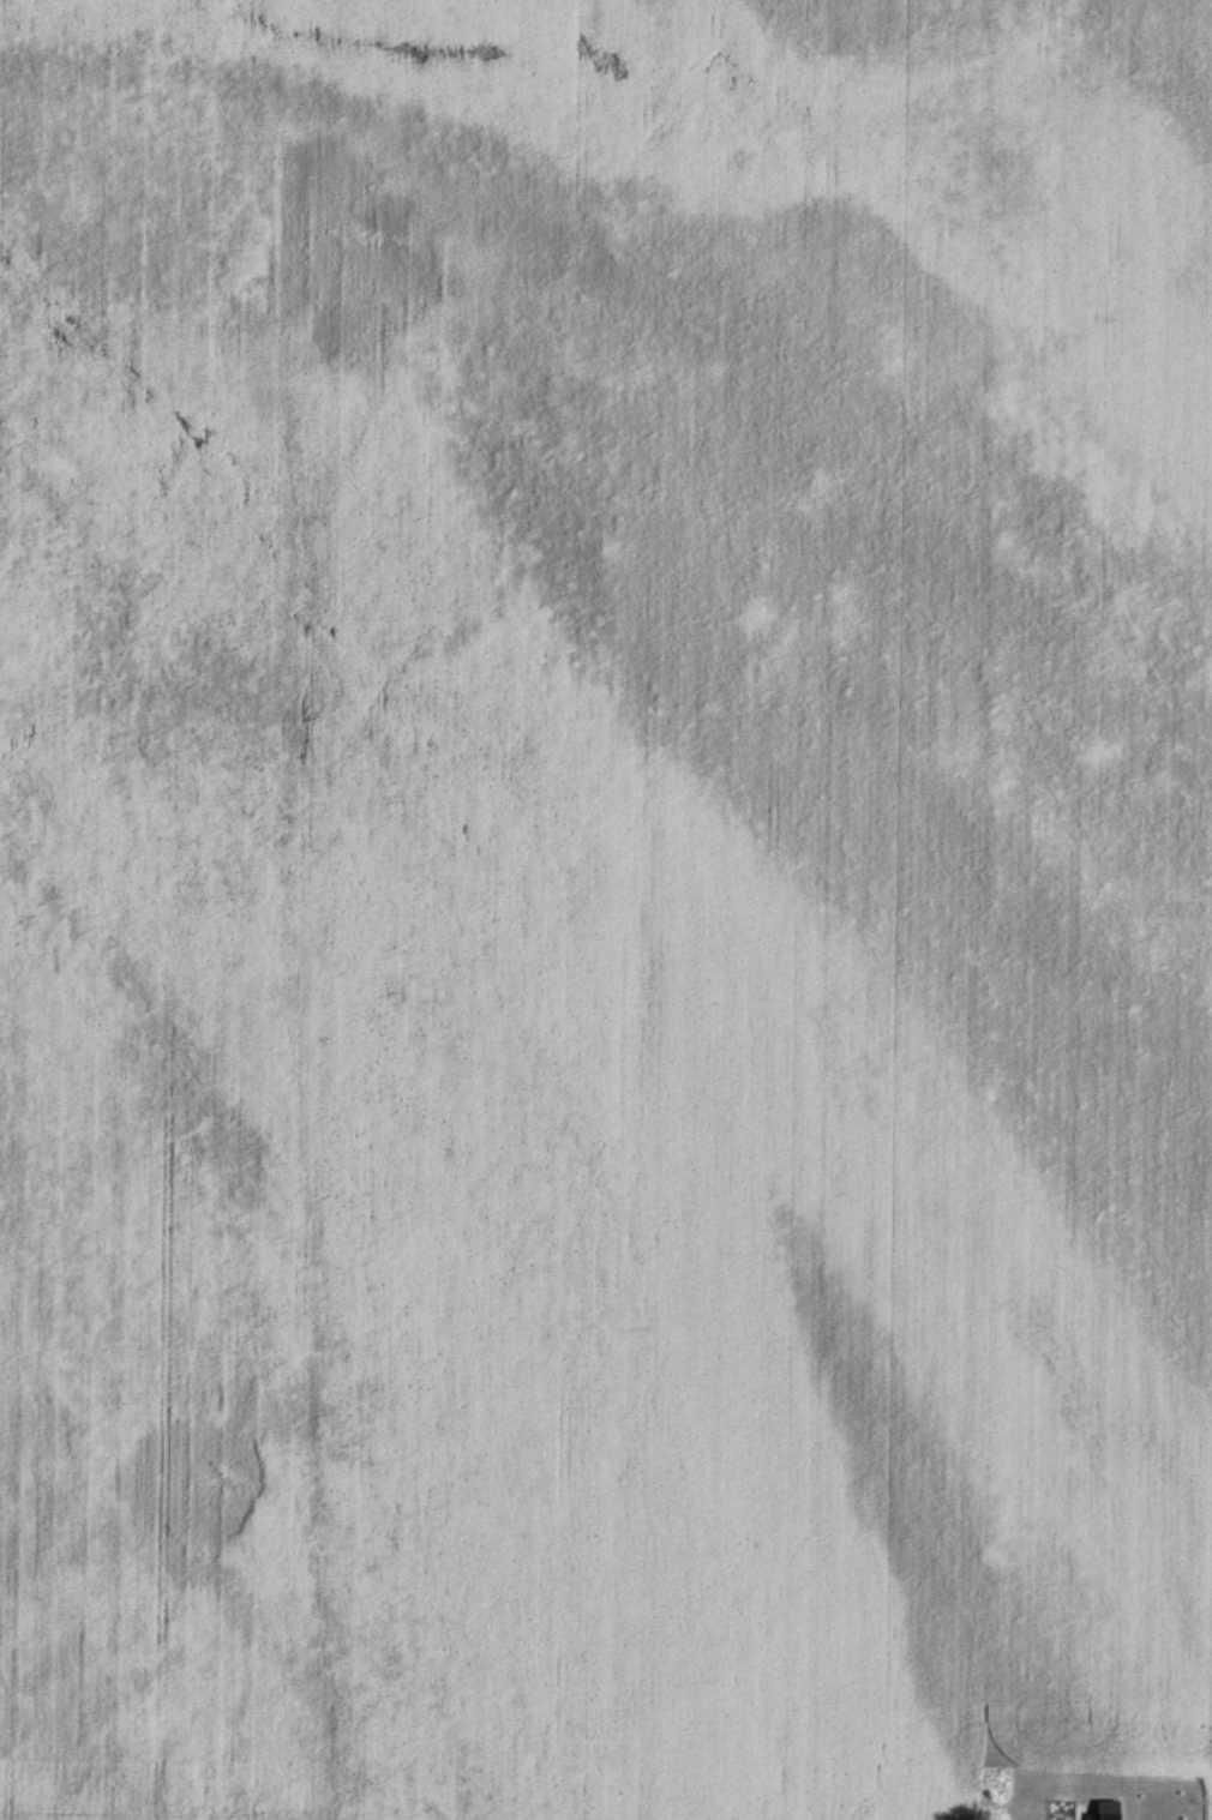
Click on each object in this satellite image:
building: (1103, 1812)

